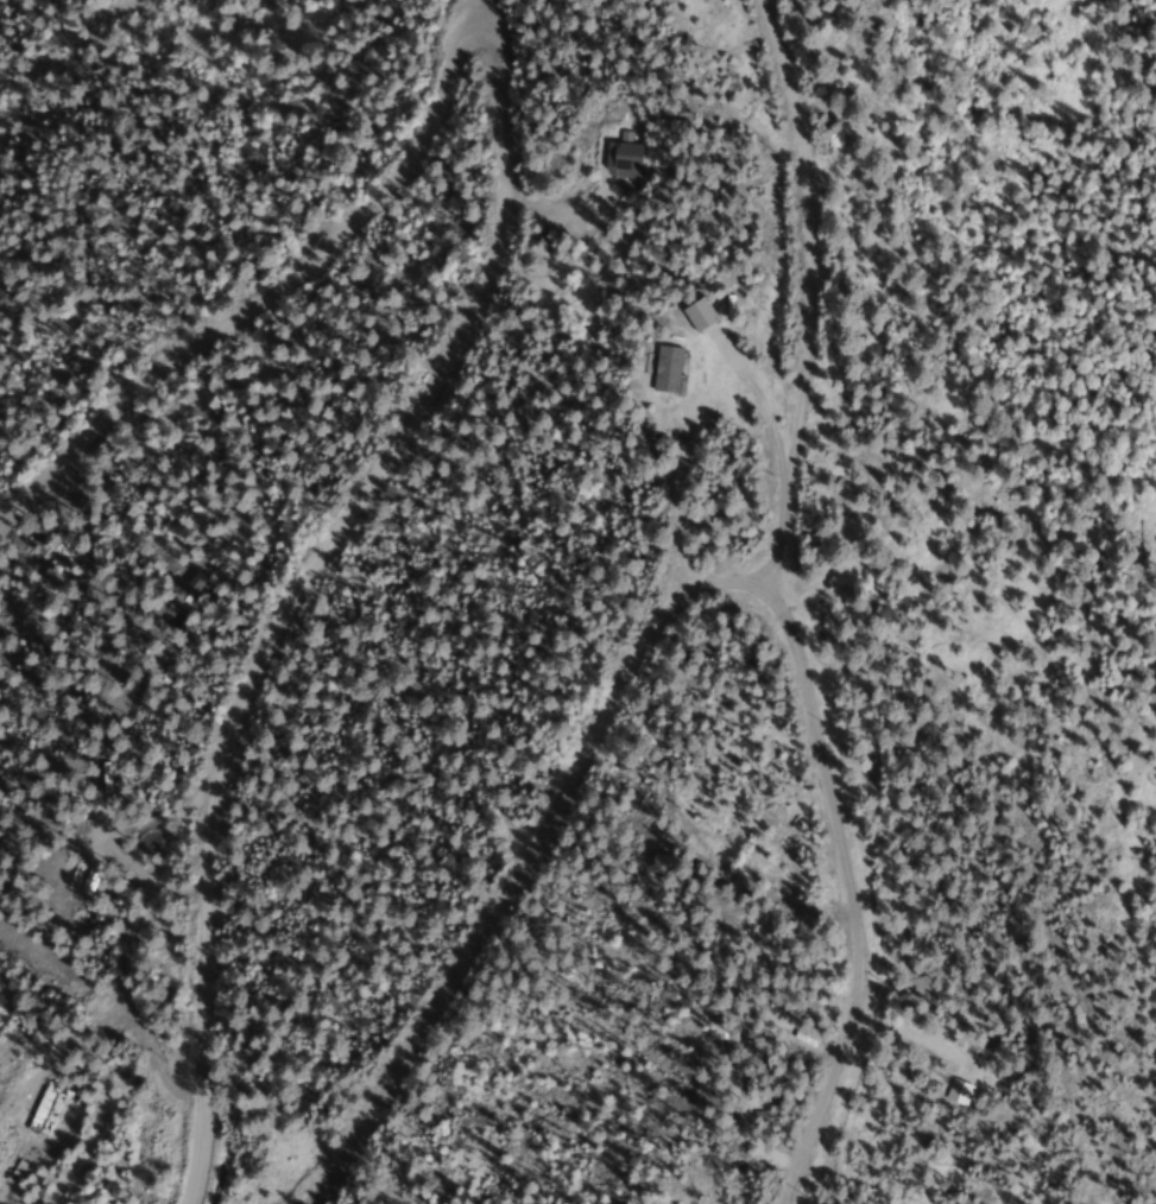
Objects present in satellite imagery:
building: (620, 158)
road: (476, 296)
building: (694, 313)
building: (663, 369)
road: (689, 601)
building: (44, 1110)
road: (784, 1198)

